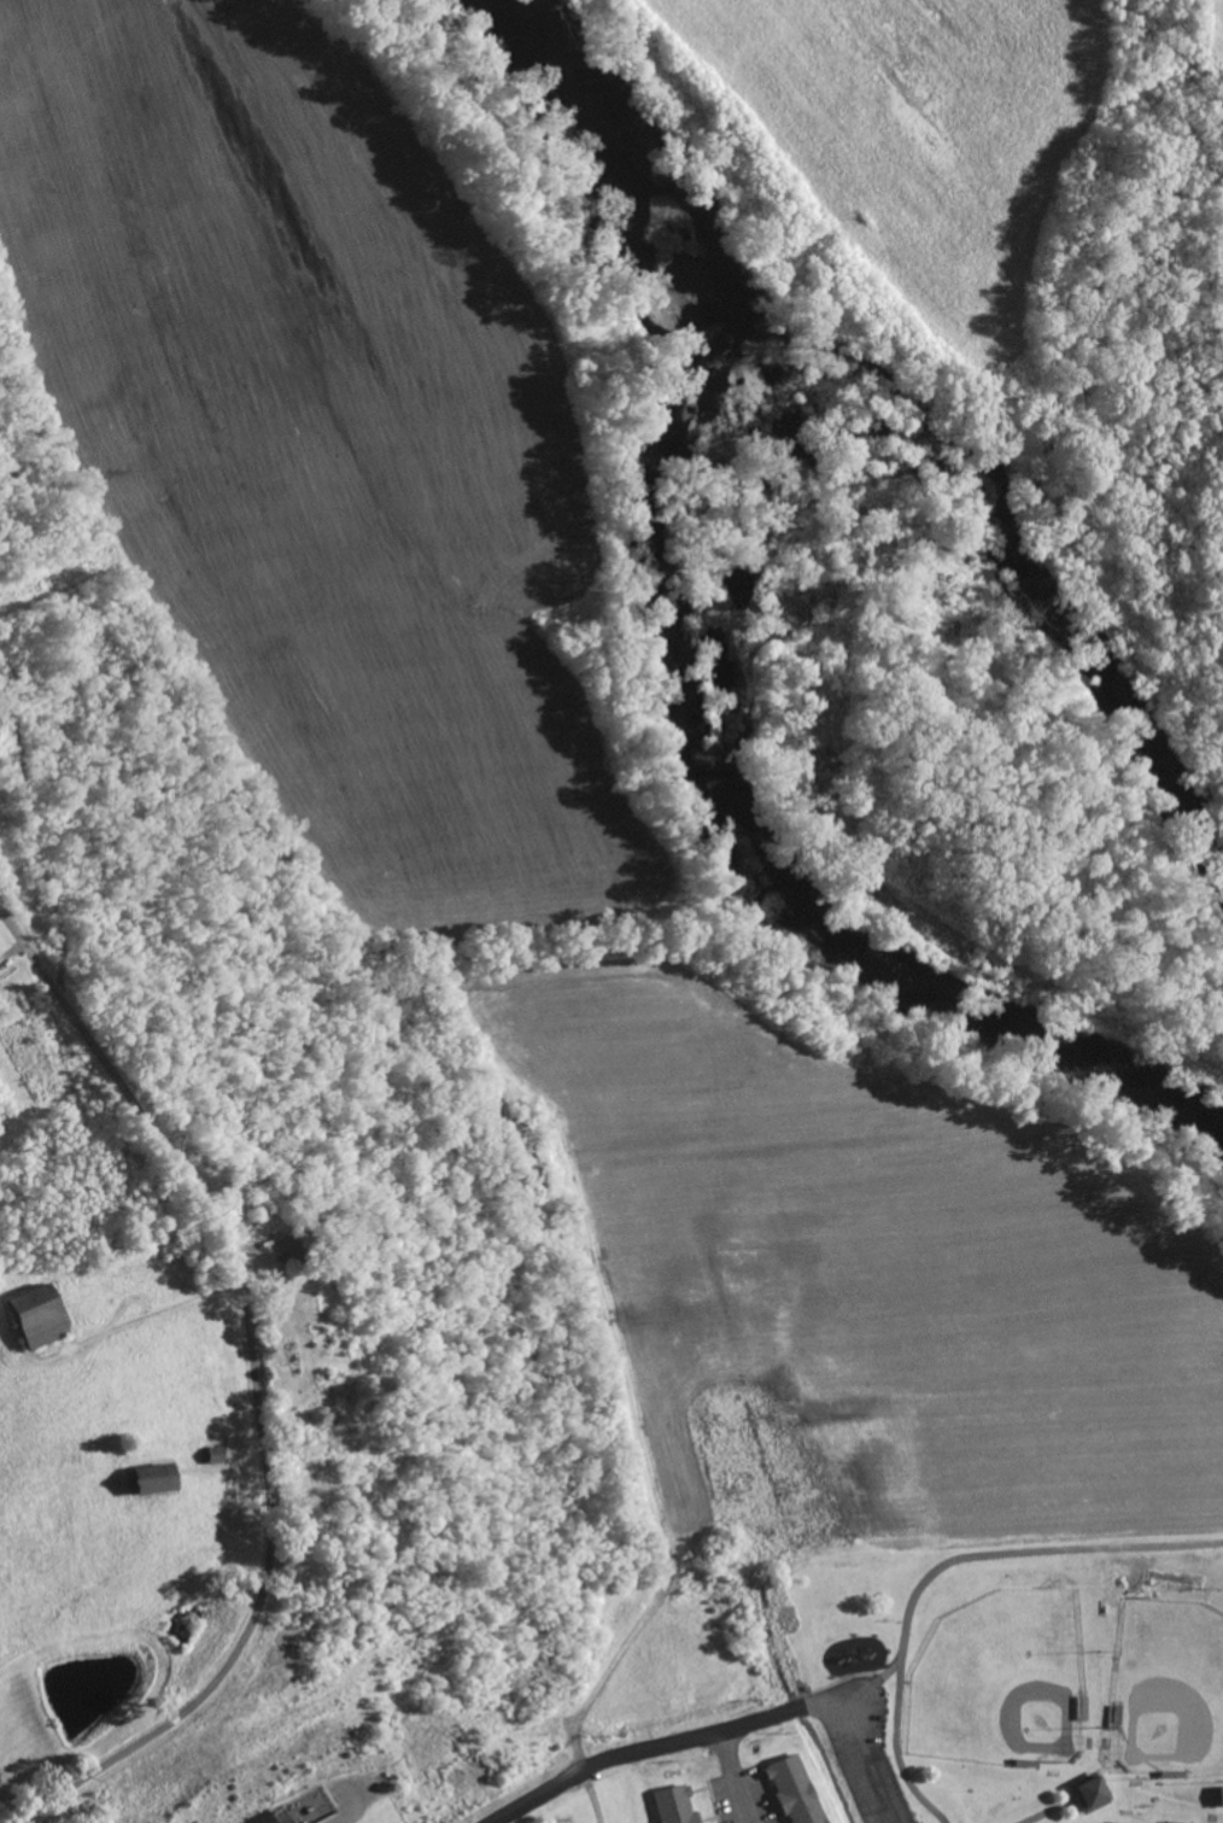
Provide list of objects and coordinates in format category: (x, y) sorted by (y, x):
river: (686, 680)
building: (30, 1319)
road: (253, 1391)
building: (146, 1480)
road: (1025, 1549)
road: (886, 1672)
park: (1032, 1672)
park: (1002, 1683)
park: (1168, 1690)
road: (640, 1747)
parking lot: (864, 1747)
road: (896, 1752)
road: (735, 1776)
parking lot: (739, 1787)
building: (791, 1787)
building: (1086, 1795)
building: (1218, 1796)
building: (672, 1802)
building: (261, 1817)

